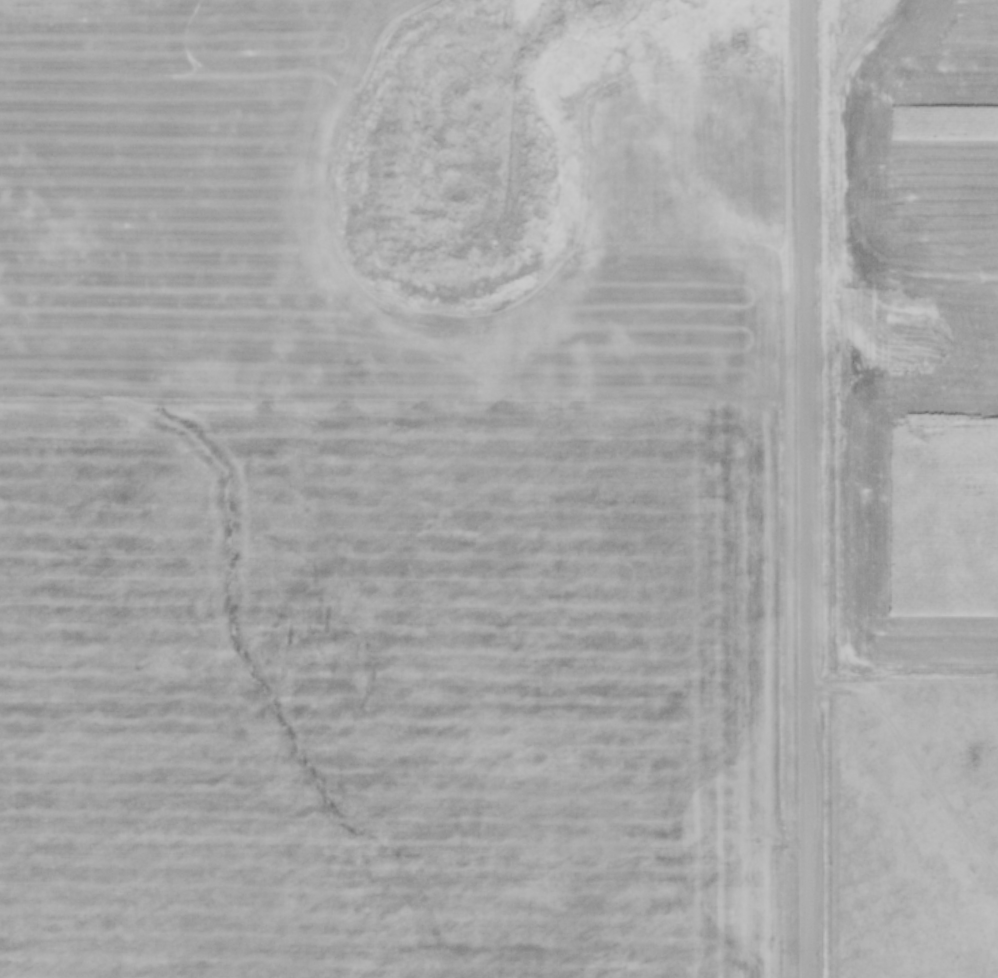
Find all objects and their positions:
crop: (911, 378)
crop: (355, 443)
road: (807, 489)

